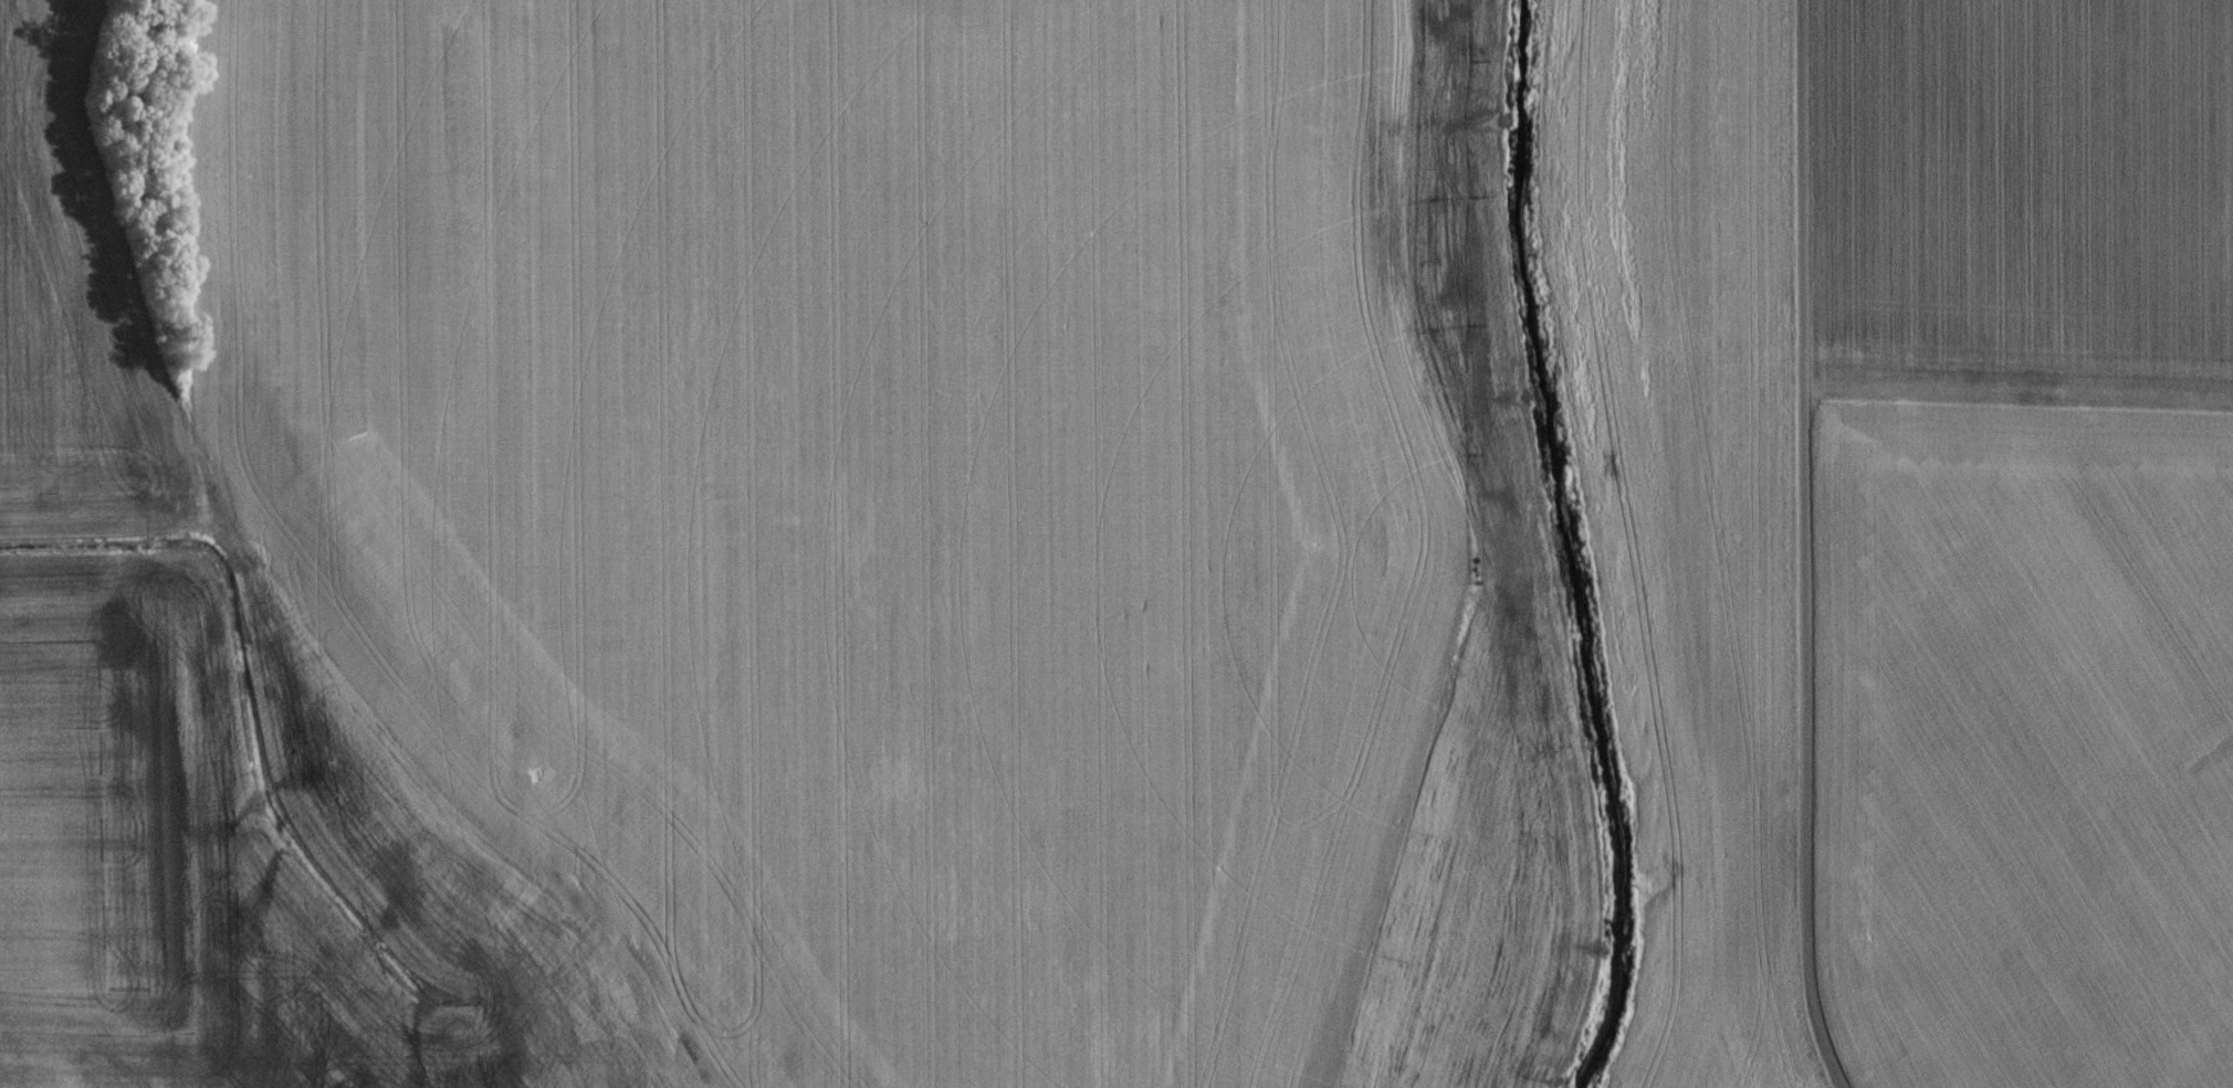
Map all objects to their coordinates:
road: (1816, 545)

